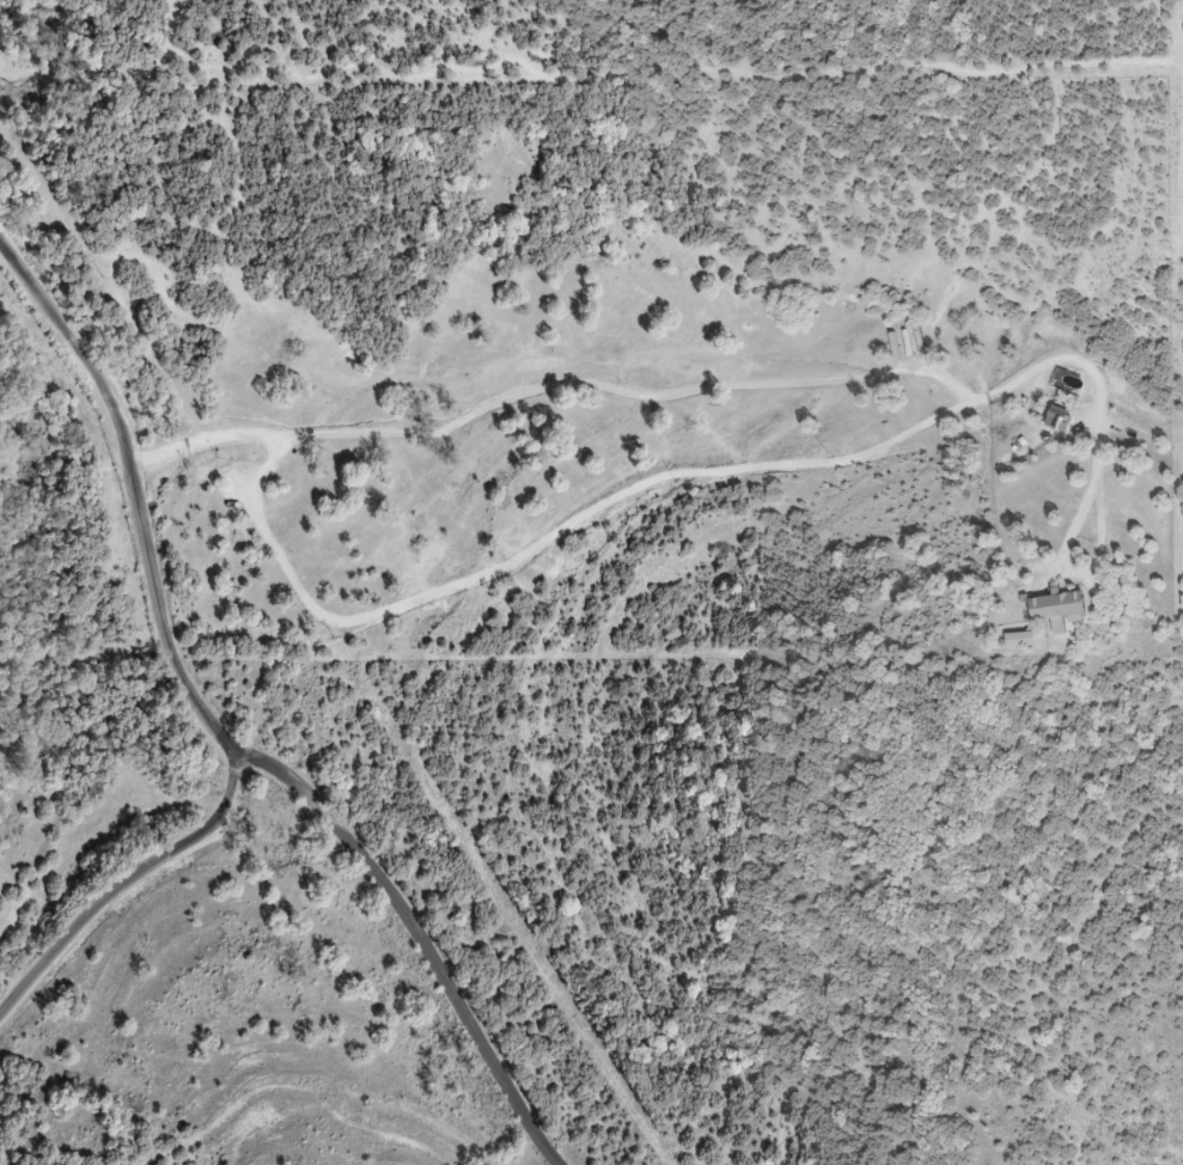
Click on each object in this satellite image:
road: (709, 395)
building: (1056, 419)
building: (1056, 608)
road: (178, 667)
road: (411, 939)

